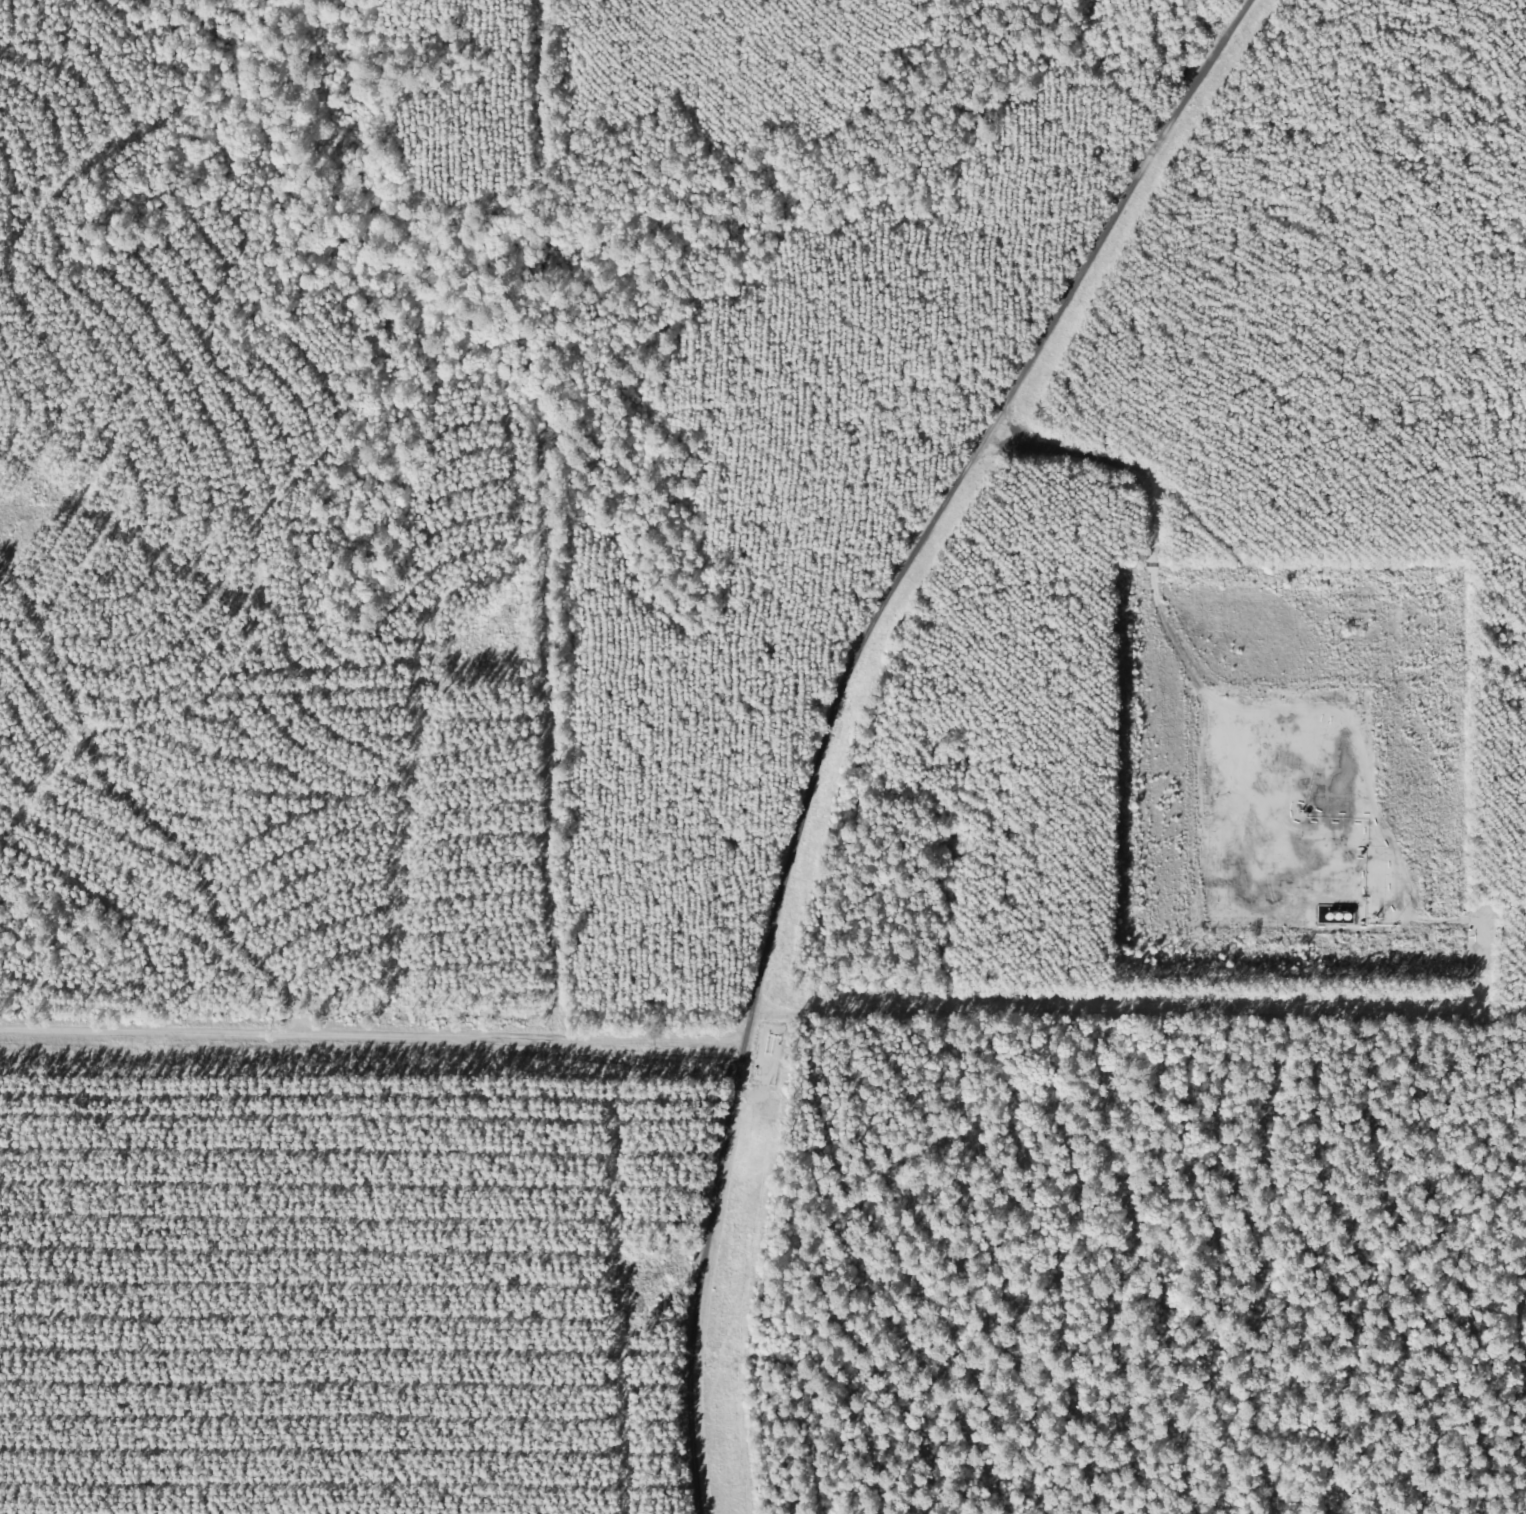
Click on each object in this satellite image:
road: (876, 714)

